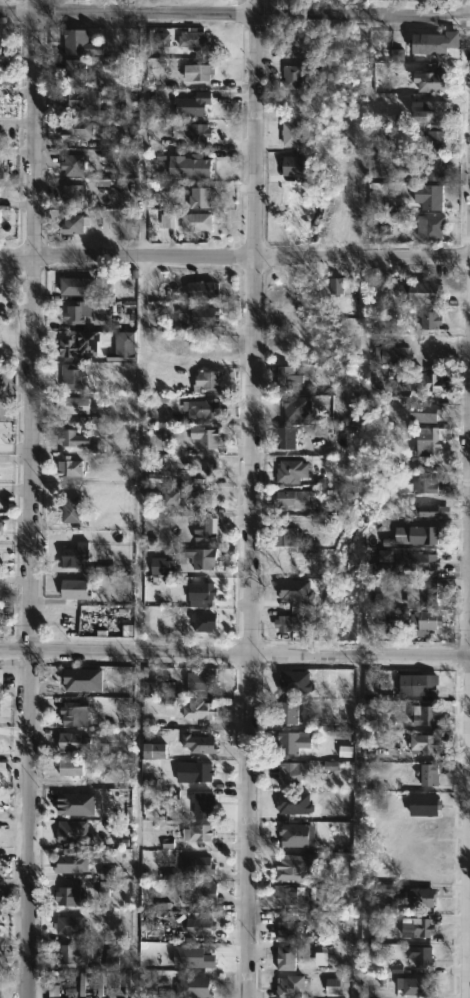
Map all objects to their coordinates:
road: (235, 15)
building: (194, 39)
building: (80, 42)
building: (426, 43)
building: (298, 47)
building: (1, 48)
building: (77, 70)
building: (0, 71)
building: (200, 72)
building: (294, 76)
building: (435, 81)
building: (76, 99)
building: (129, 103)
building: (1, 105)
building: (195, 105)
building: (429, 112)
building: (80, 129)
building: (197, 132)
building: (293, 134)
building: (436, 138)
building: (81, 164)
building: (293, 166)
building: (1, 167)
building: (192, 167)
building: (436, 168)
building: (74, 194)
building: (429, 196)
building: (201, 198)
building: (168, 222)
building: (198, 222)
building: (75, 224)
building: (432, 227)
road: (235, 255)
building: (336, 287)
building: (84, 288)
building: (203, 290)
building: (423, 293)
building: (79, 313)
building: (200, 316)
building: (431, 320)
road: (142, 333)
building: (83, 346)
building: (121, 346)
building: (389, 355)
building: (75, 377)
building: (292, 378)
building: (209, 381)
building: (424, 382)
building: (76, 406)
building: (203, 409)
building: (426, 412)
building: (207, 437)
building: (287, 438)
building: (81, 441)
building: (429, 441)
building: (71, 467)
building: (294, 472)
building: (431, 486)
building: (220, 496)
road: (253, 498)
road: (33, 499)
building: (184, 499)
building: (292, 500)
building: (433, 511)
building: (71, 512)
building: (1, 529)
building: (208, 530)
building: (290, 534)
building: (419, 536)
building: (77, 555)
building: (0, 558)
building: (200, 558)
building: (420, 564)
building: (76, 590)
building: (200, 593)
building: (433, 593)
building: (76, 620)
building: (206, 622)
building: (427, 623)
building: (289, 624)
road: (235, 653)
building: (0, 674)
building: (198, 684)
building: (418, 685)
building: (158, 688)
building: (0, 703)
building: (201, 709)
building: (290, 711)
building: (76, 712)
building: (427, 714)
building: (74, 741)
building: (197, 743)
building: (289, 743)
building: (423, 743)
building: (155, 750)
building: (71, 771)
building: (205, 771)
building: (291, 773)
building: (431, 774)
building: (68, 803)
building: (203, 804)
building: (425, 804)
road: (136, 825)
building: (200, 832)
building: (296, 836)
building: (72, 863)
building: (199, 864)
building: (290, 866)
road: (468, 878)
building: (197, 894)
building: (70, 896)
building: (289, 897)
building: (419, 897)
building: (0, 912)
building: (72, 924)
building: (202, 926)
building: (422, 928)
building: (291, 929)
building: (76, 953)
building: (419, 954)
building: (288, 958)
building: (67, 986)
building: (289, 986)
building: (416, 986)
building: (196, 987)

